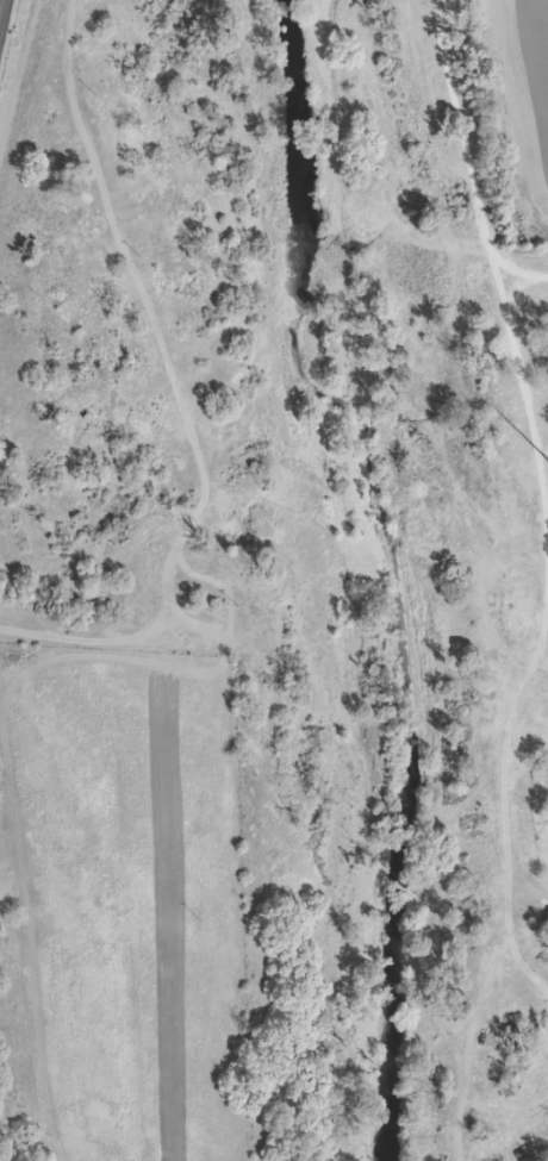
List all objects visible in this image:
road: (490, 262)
building: (546, 775)
building: (546, 934)
railway: (7, 1099)

